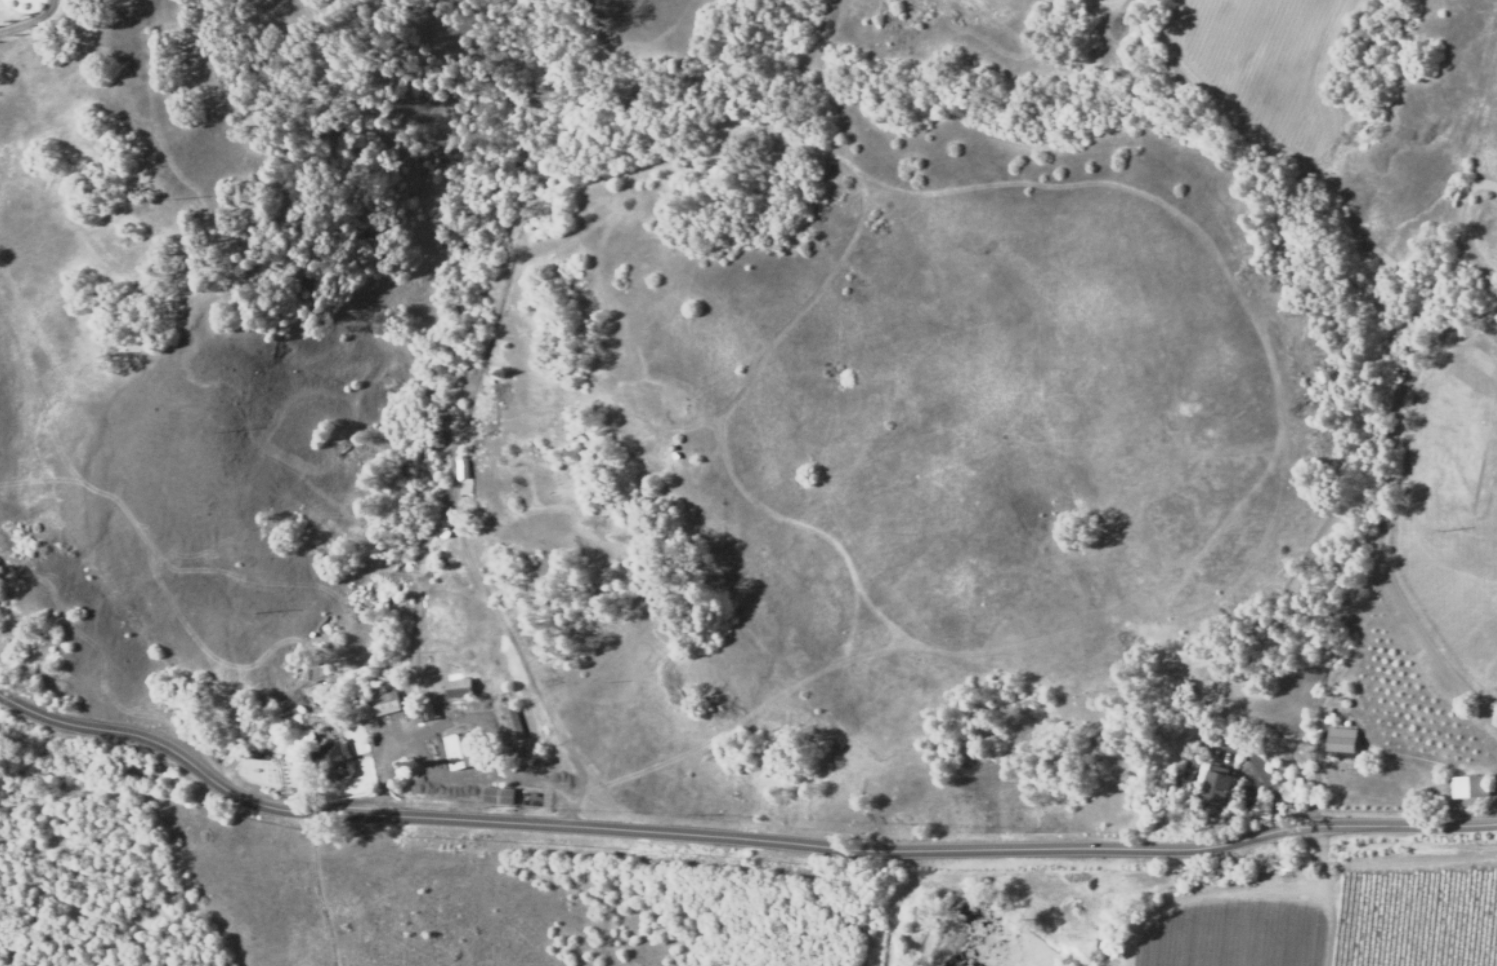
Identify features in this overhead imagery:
road: (1392, 436)
building: (432, 437)
building: (459, 470)
building: (442, 531)
building: (439, 559)
building: (331, 629)
building: (310, 635)
building: (458, 688)
building: (413, 694)
road: (523, 695)
building: (374, 707)
building: (425, 713)
building: (510, 722)
building: (491, 740)
building: (1201, 740)
building: (1342, 740)
building: (462, 750)
building: (331, 762)
building: (1470, 787)
building: (1217, 788)
building: (498, 795)
road: (736, 841)
road: (318, 891)
road: (1330, 896)

